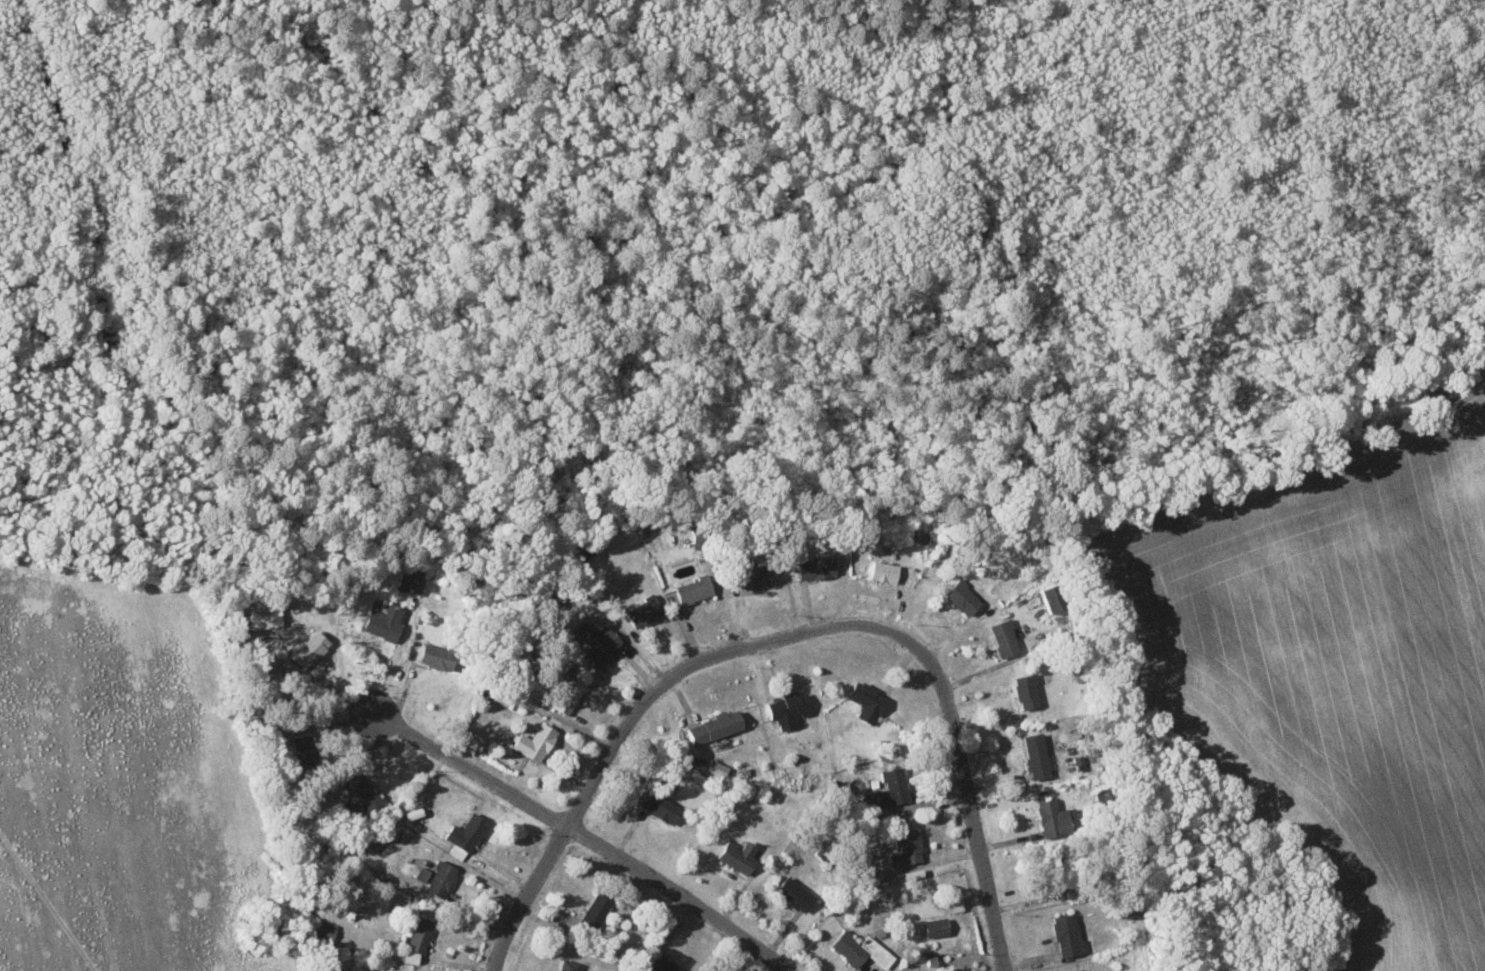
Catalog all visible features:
building: (817, 567)
building: (886, 571)
building: (756, 575)
building: (411, 580)
building: (695, 590)
building: (964, 598)
building: (1054, 599)
building: (645, 612)
building: (266, 617)
building: (385, 622)
road: (872, 623)
building: (1006, 638)
building: (600, 644)
building: (310, 648)
building: (439, 657)
building: (1029, 691)
building: (569, 695)
building: (869, 702)
building: (790, 710)
building: (717, 727)
building: (537, 743)
building: (305, 751)
building: (1038, 756)
road: (472, 767)
building: (890, 789)
building: (359, 792)
building: (663, 808)
building: (1054, 818)
building: (467, 835)
building: (908, 847)
building: (740, 855)
building: (438, 877)
building: (797, 893)
road: (527, 896)
road: (677, 898)
building: (598, 908)
building: (938, 926)
building: (328, 929)
building: (420, 933)
building: (1069, 933)
building: (863, 949)
building: (662, 963)
building: (569, 965)
building: (1076, 969)

